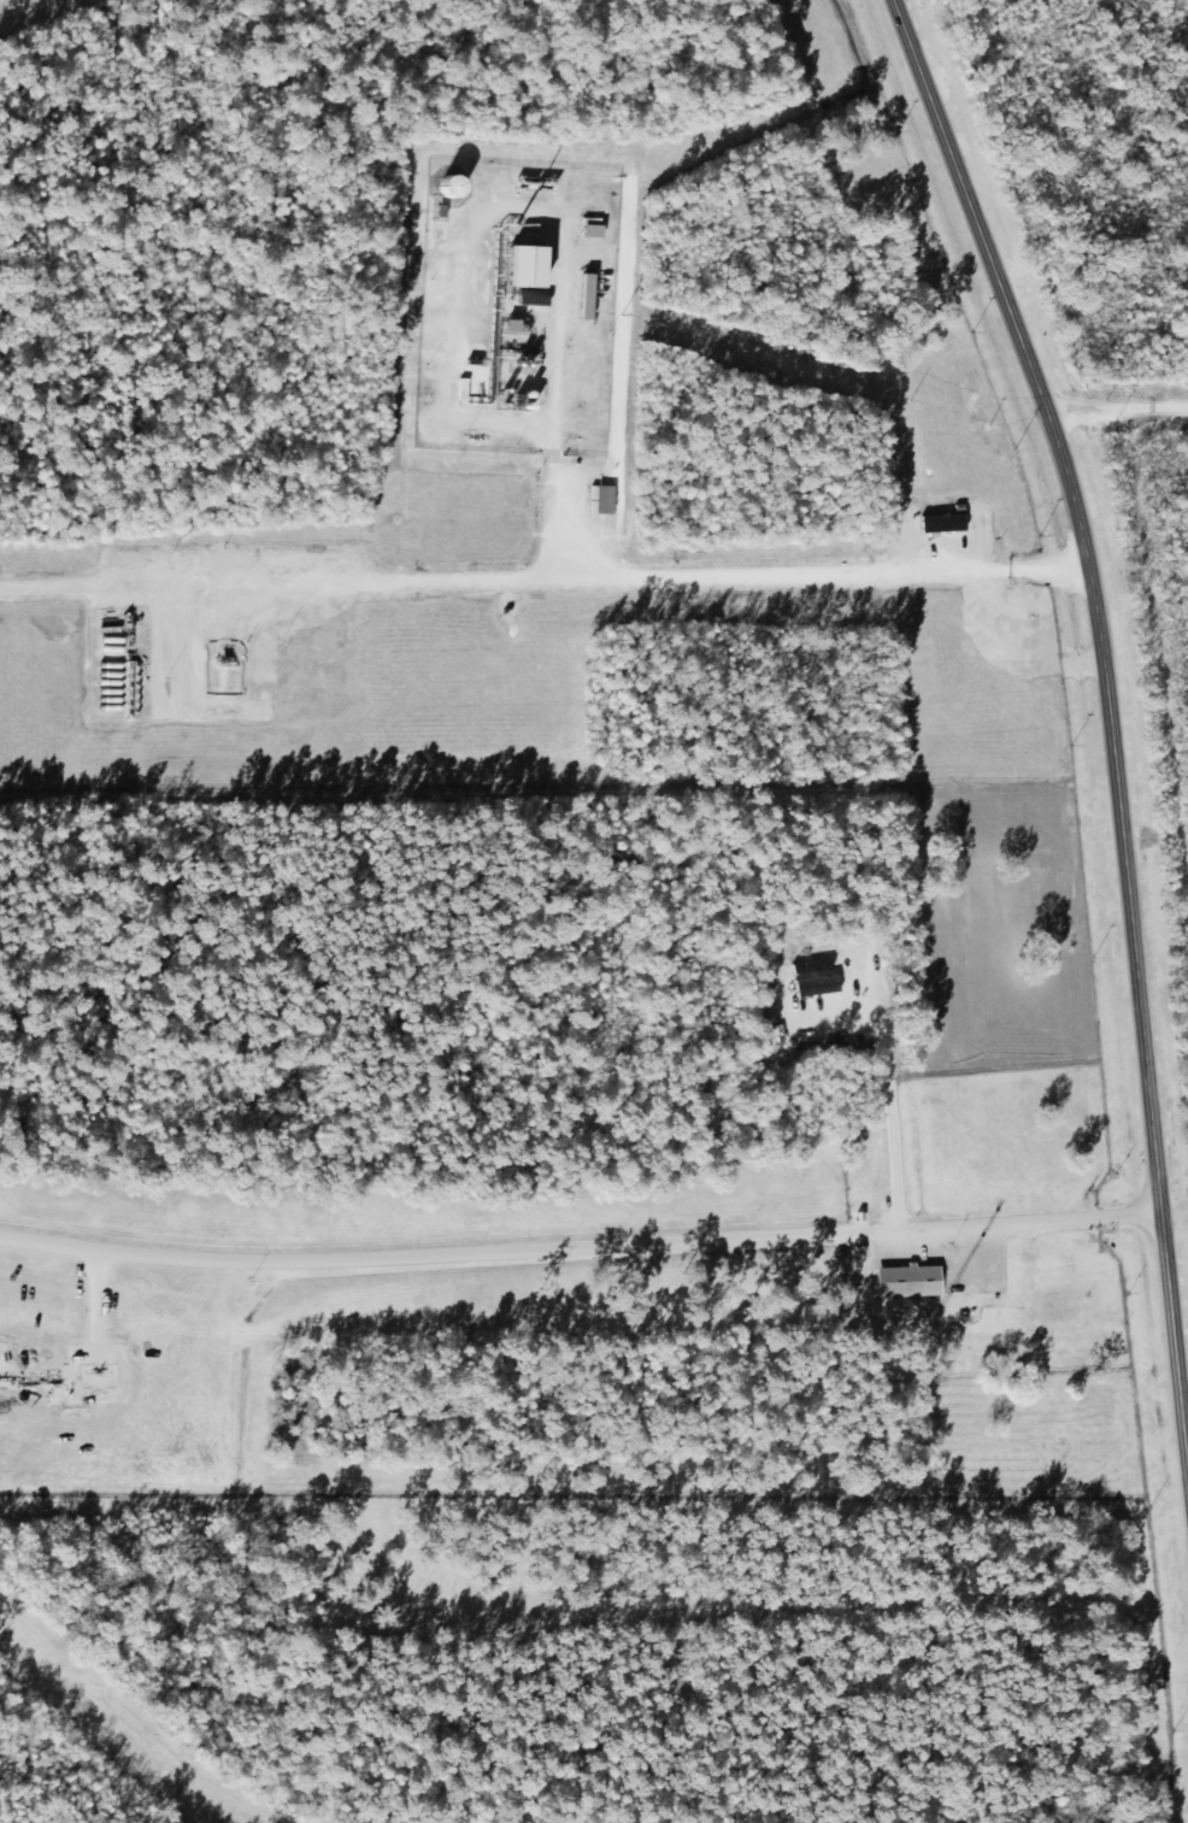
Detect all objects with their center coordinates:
building: (523, 265)
building: (601, 498)
building: (942, 522)
road: (945, 536)
road: (543, 576)
road: (1110, 718)
road: (580, 1241)
building: (906, 1280)

